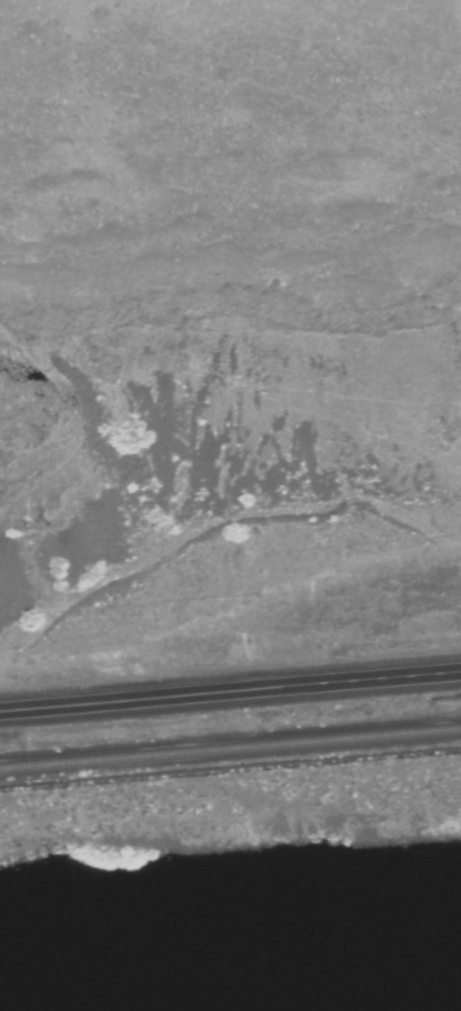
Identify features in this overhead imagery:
road: (230, 690)
railway: (230, 747)

